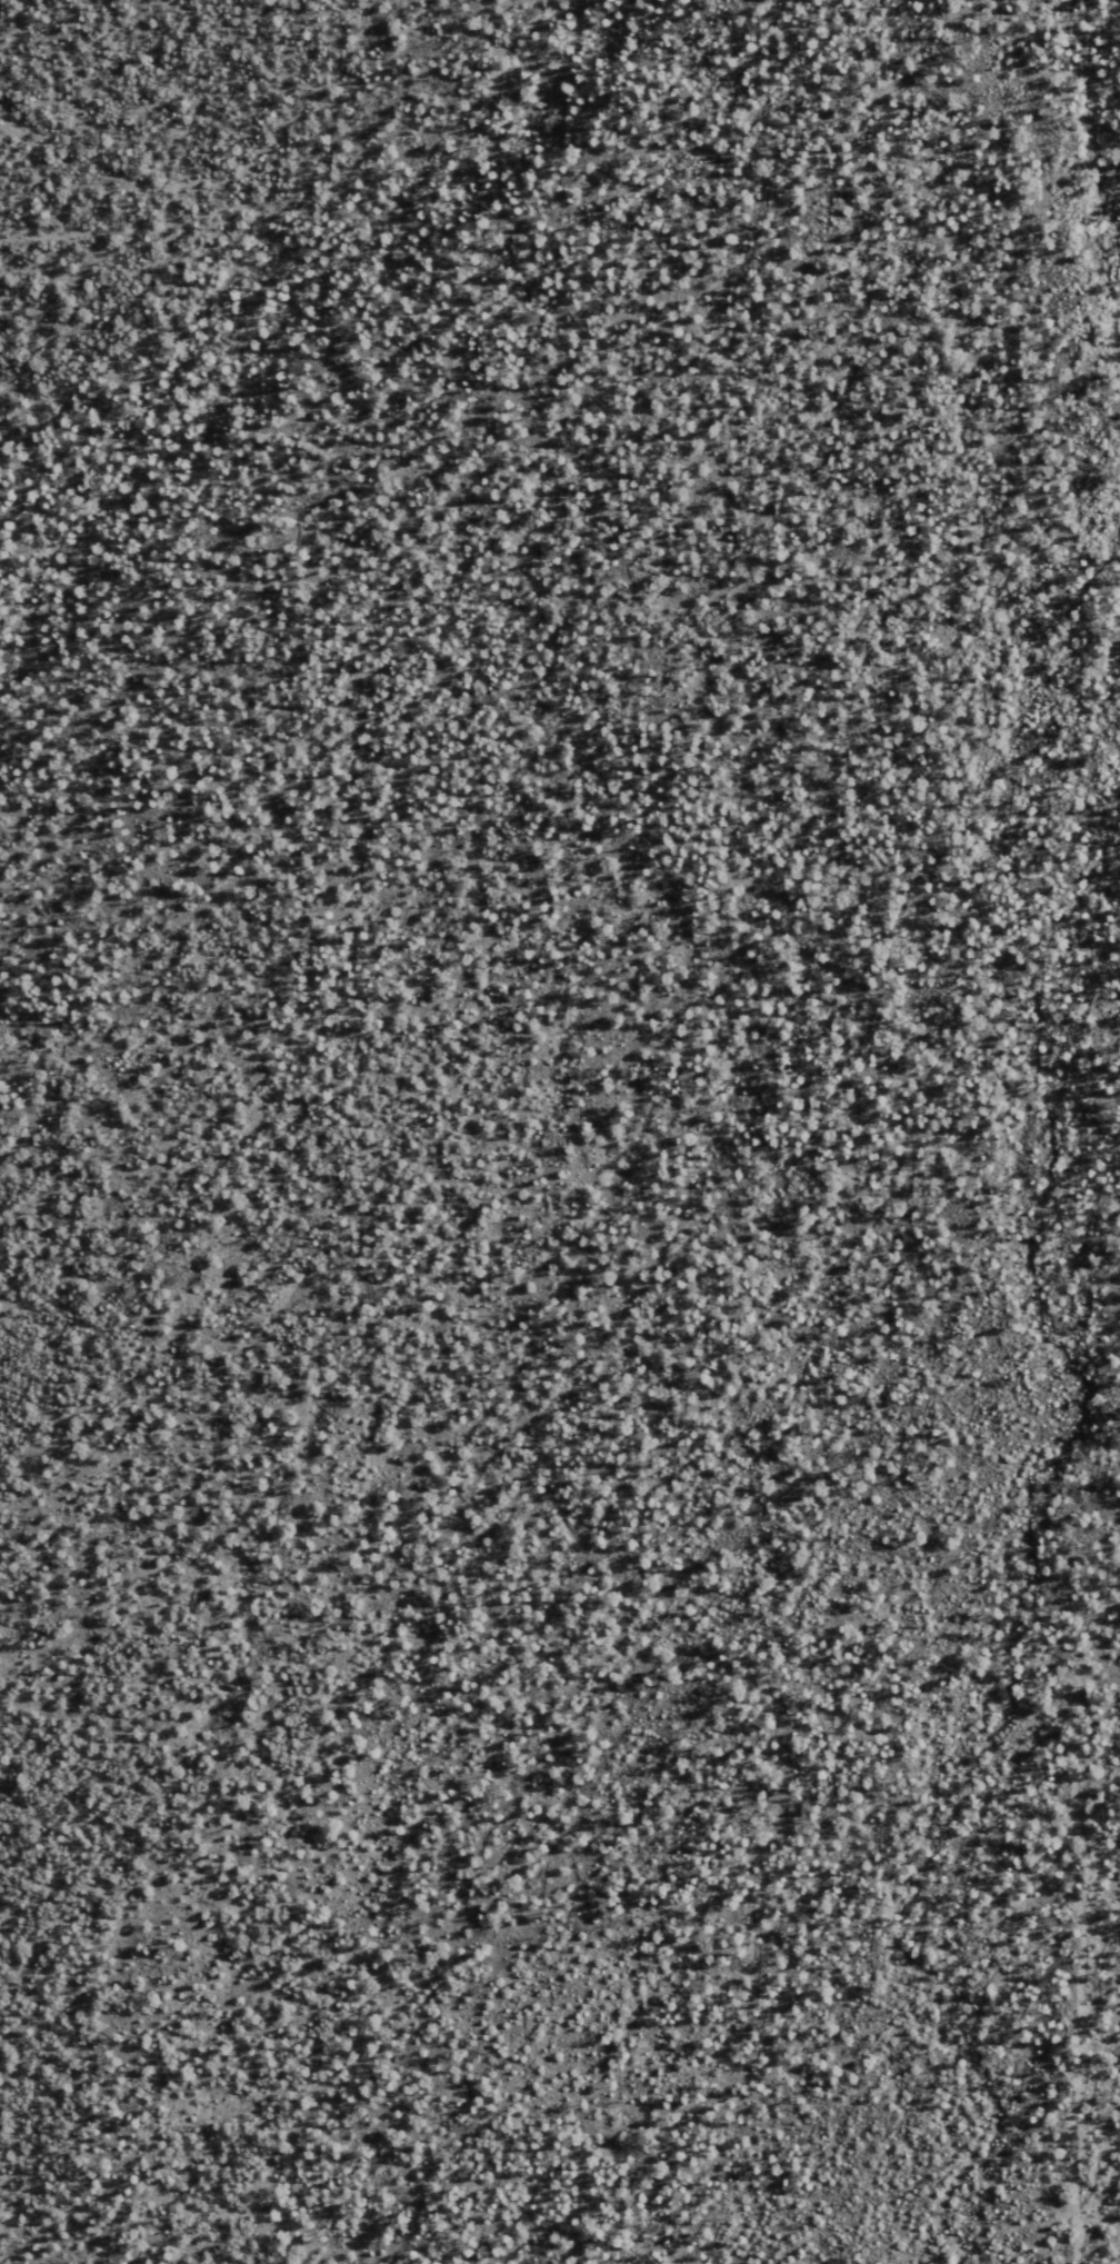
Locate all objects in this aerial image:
road: (561, 356)

